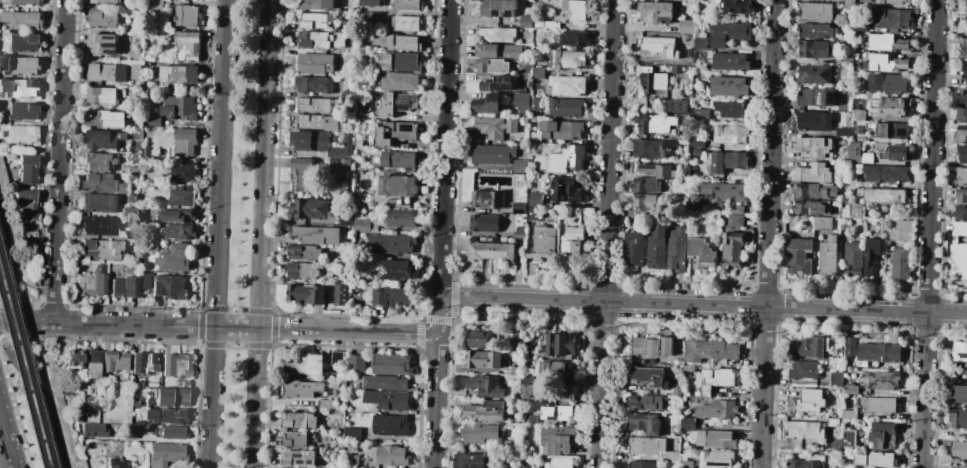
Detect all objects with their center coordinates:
building: (736, 1)
building: (891, 1)
building: (24, 2)
building: (104, 2)
building: (369, 3)
building: (318, 4)
building: (408, 4)
building: (850, 4)
building: (723, 5)
building: (153, 6)
building: (499, 8)
building: (966, 8)
building: (575, 9)
building: (738, 9)
building: (817, 11)
building: (656, 13)
building: (185, 16)
building: (373, 17)
building: (893, 18)
building: (23, 19)
building: (104, 19)
building: (314, 19)
building: (526, 22)
building: (407, 23)
building: (552, 24)
building: (862, 25)
building: (686, 26)
building: (734, 30)
building: (818, 30)
building: (497, 34)
building: (703, 35)
building: (575, 38)
building: (323, 40)
building: (24, 41)
building: (720, 41)
building: (160, 42)
building: (398, 42)
building: (702, 42)
building: (890, 42)
building: (103, 44)
building: (188, 45)
building: (660, 45)
building: (966, 48)
building: (817, 49)
building: (500, 51)
building: (690, 52)
building: (163, 58)
building: (341, 58)
building: (847, 58)
building: (567, 59)
building: (401, 61)
building: (314, 62)
building: (732, 62)
building: (887, 63)
building: (25, 66)
building: (493, 67)
building: (646, 69)
building: (135, 71)
building: (108, 72)
building: (538, 72)
building: (82, 73)
building: (816, 73)
building: (965, 73)
building: (179, 74)
building: (695, 76)
building: (401, 82)
building: (890, 83)
building: (315, 84)
building: (655, 84)
building: (497, 85)
building: (568, 85)
building: (729, 86)
building: (24, 89)
building: (348, 94)
building: (101, 96)
building: (964, 96)
building: (817, 97)
building: (399, 102)
building: (522, 102)
building: (0, 103)
building: (487, 104)
building: (536, 104)
building: (316, 105)
building: (867, 105)
building: (677, 106)
building: (566, 107)
building: (892, 107)
building: (732, 109)
building: (175, 110)
building: (24, 111)
building: (369, 111)
building: (701, 112)
building: (859, 115)
building: (962, 115)
building: (107, 119)
building: (814, 121)
building: (317, 122)
building: (655, 123)
building: (490, 127)
building: (563, 130)
building: (858, 130)
building: (842, 131)
building: (892, 131)
building: (395, 132)
building: (23, 133)
building: (731, 135)
building: (536, 136)
building: (961, 136)
building: (103, 139)
building: (310, 140)
building: (698, 140)
building: (185, 142)
building: (358, 144)
building: (816, 146)
road: (444, 148)
building: (654, 148)
building: (854, 152)
building: (899, 152)
building: (493, 154)
building: (962, 154)
building: (398, 158)
building: (867, 158)
road: (59, 161)
building: (99, 161)
building: (567, 161)
building: (727, 161)
building: (340, 162)
building: (520, 166)
building: (28, 168)
building: (135, 170)
building: (657, 170)
building: (183, 173)
building: (813, 173)
building: (301, 174)
building: (886, 174)
building: (961, 177)
building: (99, 183)
building: (397, 186)
building: (646, 186)
building: (123, 188)
building: (566, 190)
building: (816, 191)
building: (726, 192)
building: (882, 195)
building: (182, 196)
building: (961, 196)
building: (536, 199)
building: (486, 200)
building: (646, 201)
building: (27, 203)
building: (99, 203)
building: (133, 203)
building: (695, 203)
building: (813, 207)
building: (310, 208)
building: (518, 208)
building: (736, 209)
building: (855, 210)
building: (132, 211)
building: (961, 212)
building: (534, 214)
building: (176, 215)
building: (632, 216)
building: (399, 218)
building: (345, 219)
building: (735, 220)
building: (484, 222)
building: (823, 222)
building: (364, 223)
building: (844, 224)
building: (101, 225)
building: (520, 229)
building: (901, 229)
building: (180, 232)
building: (575, 233)
road: (605, 233)
road: (767, 233)
road: (929, 233)
road: (218, 234)
road: (259, 234)
building: (317, 234)
building: (519, 235)
road: (6, 237)
building: (393, 244)
building: (543, 245)
building: (149, 246)
building: (572, 247)
building: (633, 248)
building: (657, 248)
building: (677, 248)
building: (101, 249)
building: (958, 249)
building: (702, 250)
building: (732, 250)
building: (491, 251)
building: (303, 252)
building: (871, 255)
building: (799, 256)
building: (828, 256)
building: (175, 258)
building: (853, 258)
building: (901, 263)
building: (396, 270)
building: (301, 271)
building: (91, 284)
building: (124, 286)
building: (169, 286)
building: (307, 294)
building: (340, 294)
building: (391, 297)
road: (703, 304)
road: (236, 306)
road: (440, 315)
road: (199, 325)
road: (219, 327)
road: (272, 329)
building: (516, 337)
building: (478, 338)
building: (560, 344)
building: (651, 347)
building: (850, 347)
road: (234, 348)
building: (808, 348)
building: (711, 350)
building: (960, 351)
park: (31, 352)
building: (879, 352)
building: (525, 354)
building: (75, 358)
building: (339, 358)
building: (483, 358)
railway: (27, 360)
building: (643, 361)
building: (114, 362)
building: (356, 362)
building: (93, 363)
building: (144, 363)
building: (177, 364)
building: (307, 364)
building: (392, 364)
building: (516, 369)
building: (804, 369)
building: (560, 370)
railway: (23, 377)
building: (649, 377)
building: (528, 378)
building: (837, 378)
building: (716, 380)
building: (883, 380)
building: (384, 382)
building: (485, 385)
building: (302, 388)
building: (529, 391)
building: (560, 393)
road: (44, 394)
building: (959, 394)
building: (517, 396)
building: (172, 398)
building: (666, 398)
building: (388, 401)
road: (436, 401)
building: (808, 401)
building: (646, 402)
building: (327, 403)
building: (135, 404)
building: (879, 405)
building: (718, 410)
building: (486, 411)
building: (89, 413)
building: (556, 413)
building: (166, 416)
building: (961, 419)
building: (299, 420)
building: (832, 422)
building: (687, 423)
building: (646, 424)
building: (390, 425)
building: (804, 429)
building: (93, 430)
building: (127, 431)
building: (174, 432)
building: (479, 432)
building: (353, 433)
building: (883, 436)
building: (715, 438)
building: (294, 439)
building: (836, 439)
building: (849, 439)
road: (6, 440)
building: (557, 441)
building: (818, 445)
building: (530, 446)
building: (353, 448)
building: (957, 448)
building: (657, 451)
building: (166, 453)
building: (389, 455)
building: (298, 458)
building: (716, 459)
building: (353, 460)
building: (469, 460)
building: (875, 460)
building: (806, 462)
building: (116, 463)
building: (560, 463)
building: (642, 465)

